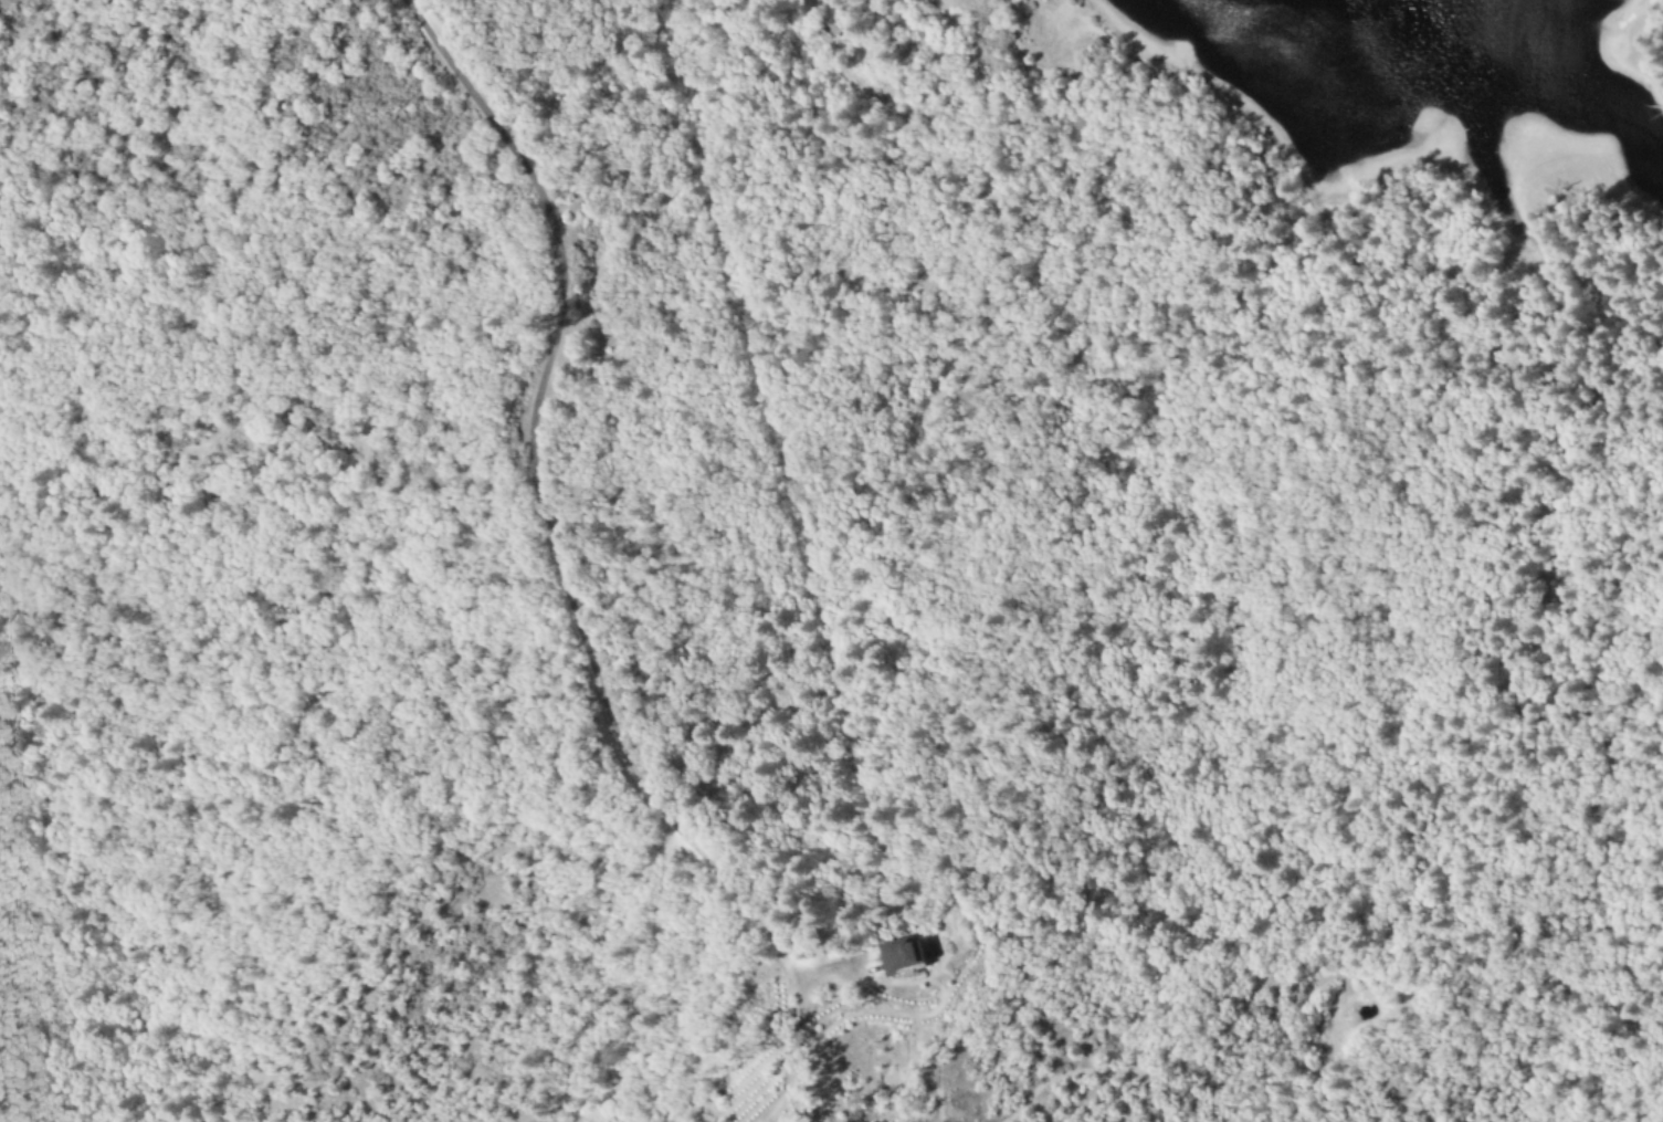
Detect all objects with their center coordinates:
road: (541, 387)
building: (912, 958)

